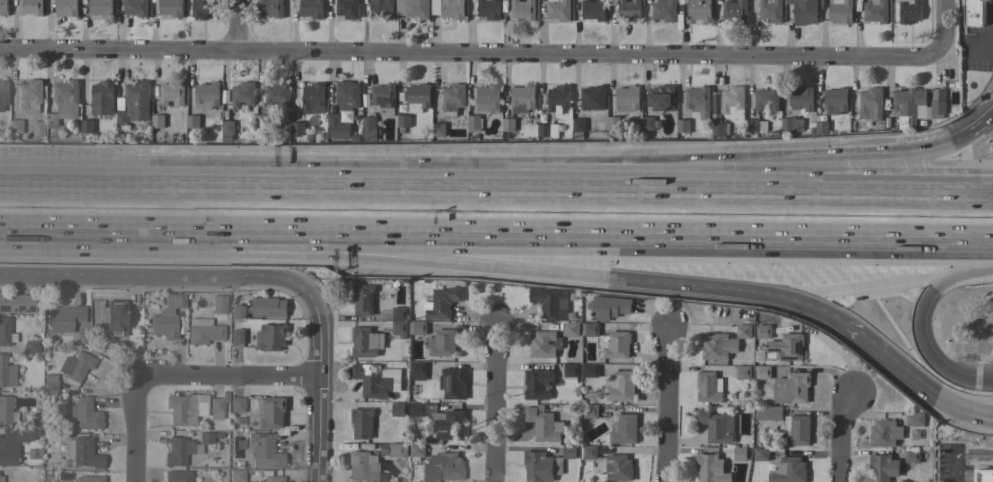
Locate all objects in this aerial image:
building: (31, 7)
building: (67, 7)
building: (101, 7)
building: (135, 7)
building: (3, 8)
building: (170, 8)
building: (270, 8)
building: (311, 8)
building: (413, 8)
building: (200, 9)
building: (347, 9)
building: (381, 9)
building: (448, 9)
building: (488, 9)
building: (523, 9)
building: (558, 9)
building: (593, 10)
building: (629, 10)
building: (770, 10)
building: (664, 11)
building: (698, 11)
building: (734, 11)
building: (840, 11)
building: (875, 11)
building: (909, 11)
building: (804, 12)
building: (975, 13)
road: (237, 27)
road: (941, 30)
road: (986, 36)
road: (470, 56)
building: (3, 92)
building: (172, 93)
building: (242, 94)
building: (278, 94)
building: (206, 95)
building: (628, 96)
building: (417, 97)
building: (558, 97)
building: (102, 98)
building: (313, 98)
building: (488, 98)
building: (522, 98)
building: (593, 98)
building: (661, 98)
building: (383, 99)
building: (453, 99)
building: (766, 99)
building: (802, 99)
building: (698, 101)
building: (835, 101)
building: (32, 102)
building: (64, 102)
rooftop solar panel: (385, 102)
building: (732, 102)
building: (134, 103)
rooftop solar panel: (393, 103)
building: (871, 104)
building: (909, 106)
building: (937, 107)
building: (343, 109)
building: (157, 121)
building: (192, 121)
building: (402, 121)
building: (262, 122)
road: (988, 122)
building: (648, 123)
building: (474, 124)
building: (508, 124)
building: (614, 124)
building: (791, 124)
building: (15, 125)
building: (682, 126)
building: (227, 128)
building: (298, 128)
building: (369, 128)
building: (577, 128)
building: (755, 128)
building: (819, 128)
building: (85, 129)
building: (438, 129)
building: (547, 130)
building: (718, 130)
road: (911, 158)
road: (602, 176)
road: (452, 190)
road: (949, 190)
road: (949, 197)
railway: (496, 214)
road: (59, 229)
road: (556, 234)
road: (439, 263)
road: (877, 274)
road: (157, 279)
road: (815, 295)
building: (363, 299)
building: (17, 302)
building: (219, 303)
building: (443, 303)
building: (550, 303)
rooftop solar panel: (20, 307)
building: (268, 307)
building: (609, 307)
rooftop solar panel: (3, 308)
building: (238, 312)
building: (399, 314)
building: (63, 317)
building: (167, 317)
building: (114, 319)
road: (941, 324)
building: (399, 327)
building: (417, 328)
building: (571, 329)
building: (591, 330)
building: (5, 331)
building: (203, 331)
building: (763, 332)
building: (237, 336)
building: (271, 337)
building: (366, 342)
road: (889, 342)
building: (441, 343)
building: (723, 343)
building: (544, 344)
building: (31, 345)
building: (616, 345)
building: (785, 347)
building: (75, 366)
building: (418, 370)
building: (570, 370)
building: (590, 370)
building: (6, 371)
building: (742, 372)
building: (762, 372)
road: (225, 379)
building: (373, 381)
building: (50, 383)
building: (453, 383)
building: (537, 384)
building: (621, 386)
building: (708, 387)
road: (314, 388)
building: (791, 388)
road: (951, 390)
road: (494, 403)
building: (237, 404)
road: (664, 404)
building: (216, 407)
building: (5, 409)
building: (182, 409)
building: (397, 409)
building: (417, 409)
building: (272, 411)
building: (590, 412)
building: (768, 413)
building: (84, 414)
building: (914, 419)
building: (36, 422)
building: (361, 423)
building: (543, 424)
building: (446, 426)
building: (716, 426)
road: (134, 429)
building: (625, 429)
building: (796, 430)
building: (884, 433)
road: (839, 437)
building: (212, 438)
building: (13, 444)
building: (263, 450)
building: (398, 450)
building: (417, 450)
building: (178, 451)
building: (569, 451)
road: (972, 451)
building: (82, 452)
building: (740, 453)
building: (760, 454)
building: (912, 456)
building: (610, 464)
building: (363, 466)
building: (541, 466)
road: (950, 466)
building: (442, 467)
building: (883, 467)
building: (711, 468)
building: (788, 470)
building: (177, 475)
building: (237, 475)
building: (983, 475)
building: (1, 478)
building: (90, 479)
building: (271, 479)

